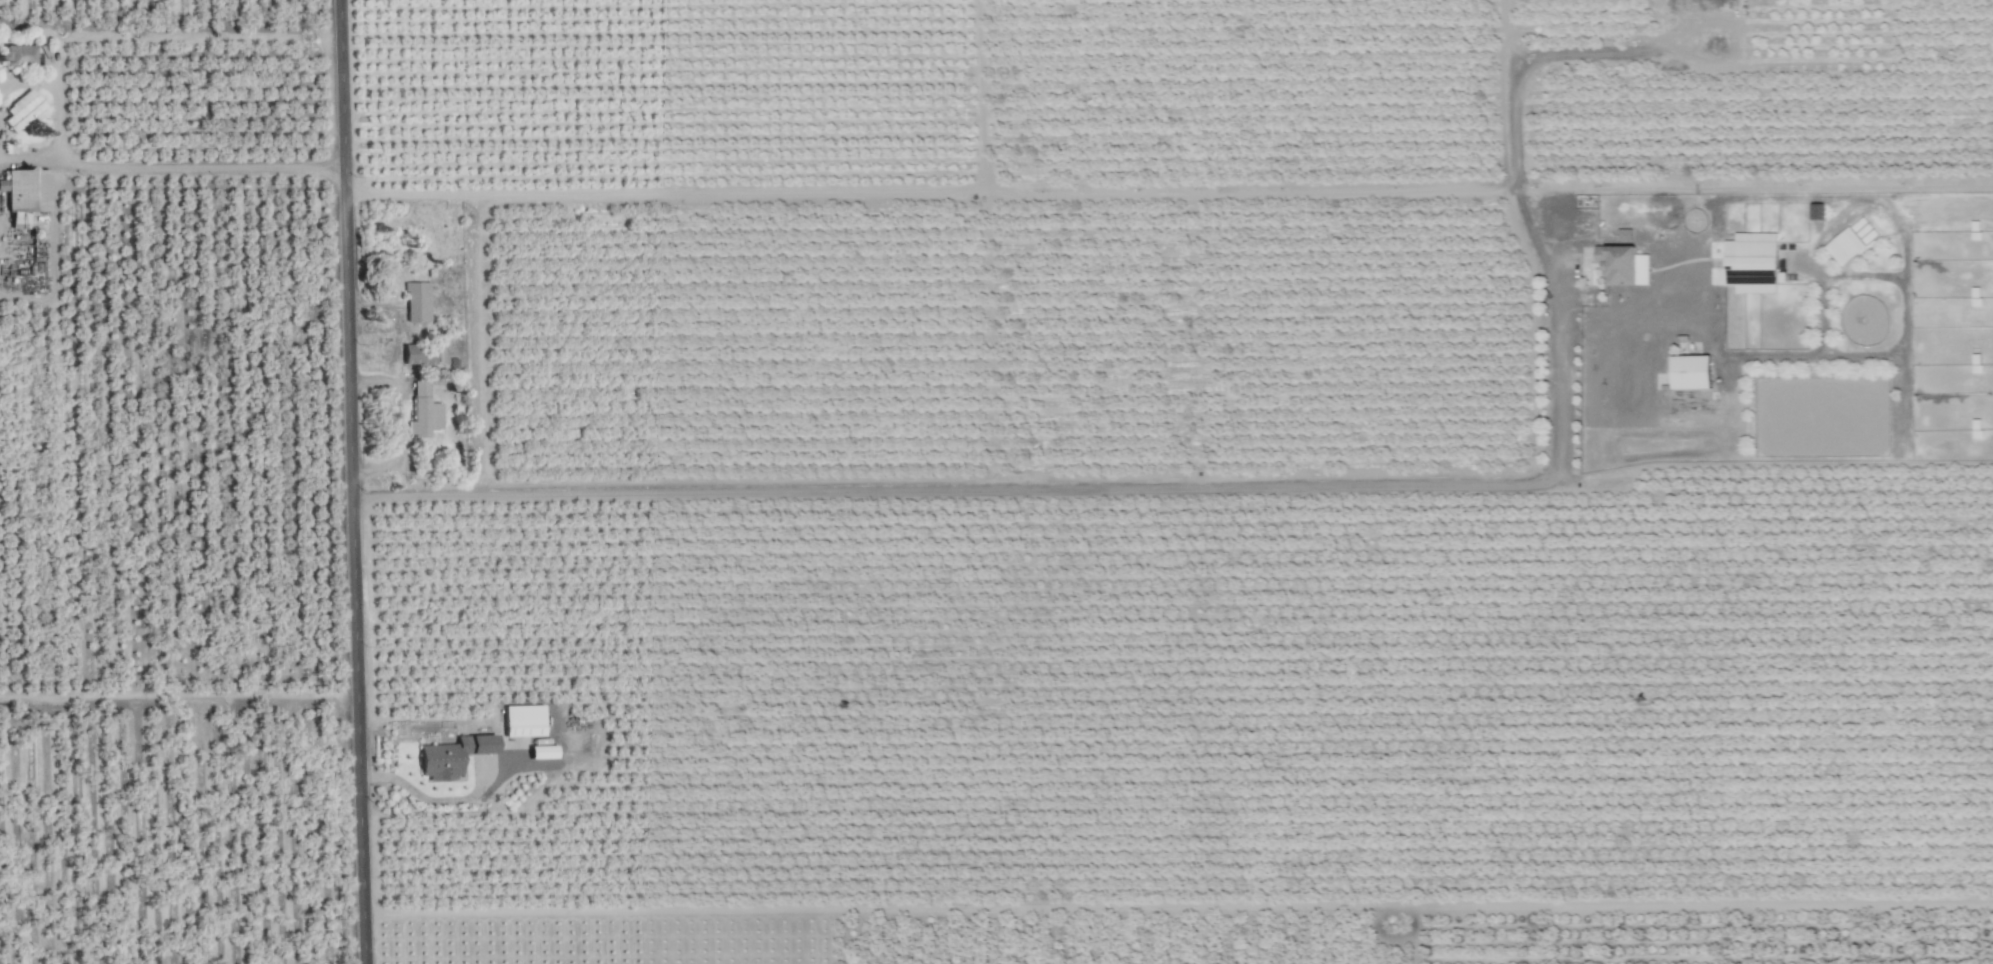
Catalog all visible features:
building: (15, 58)
building: (20, 114)
road: (211, 167)
building: (24, 193)
building: (1750, 266)
building: (1615, 268)
building: (1974, 300)
building: (415, 305)
building: (416, 357)
building: (1688, 376)
building: (421, 414)
road: (359, 482)
road: (1074, 490)
building: (520, 723)
building: (447, 760)
road: (431, 803)

